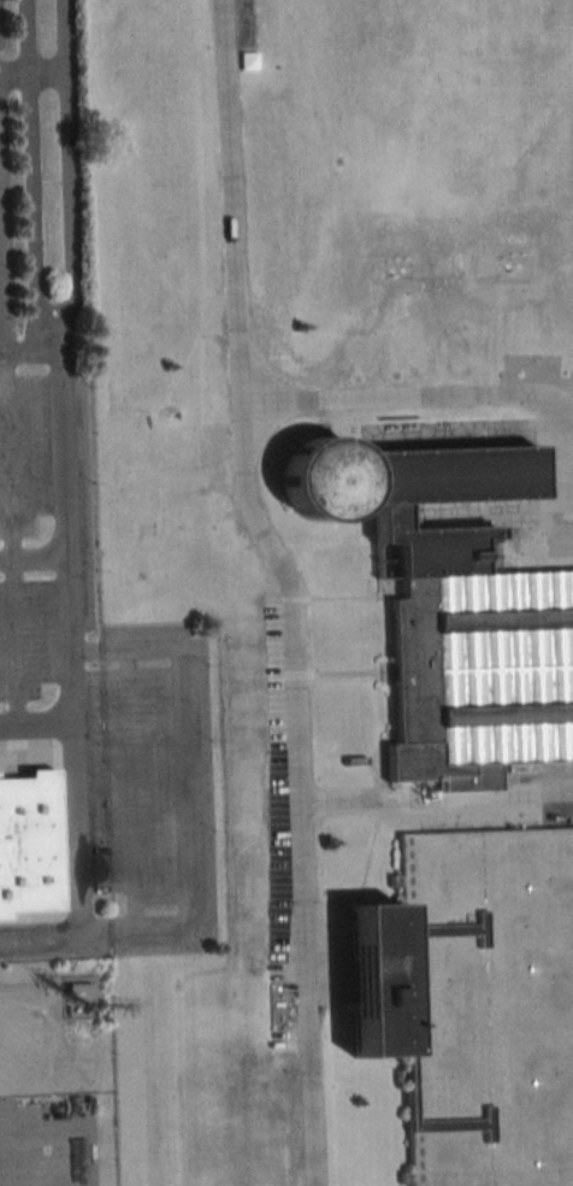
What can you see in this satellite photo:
road: (31, 72)
road: (28, 348)
road: (53, 353)
road: (431, 404)
parking lot: (24, 454)
road: (10, 462)
building: (320, 478)
storage tank: (320, 478)
road: (30, 558)
road: (290, 587)
building: (462, 627)
road: (11, 644)
road: (65, 646)
parking lot: (28, 659)
road: (35, 728)
parking lot: (155, 767)
parking lot: (94, 781)
road: (183, 788)
road: (126, 792)
road: (432, 806)
building: (26, 850)
road: (39, 939)
building: (473, 1003)
storage tank: (473, 1003)
parking lot: (46, 1140)

